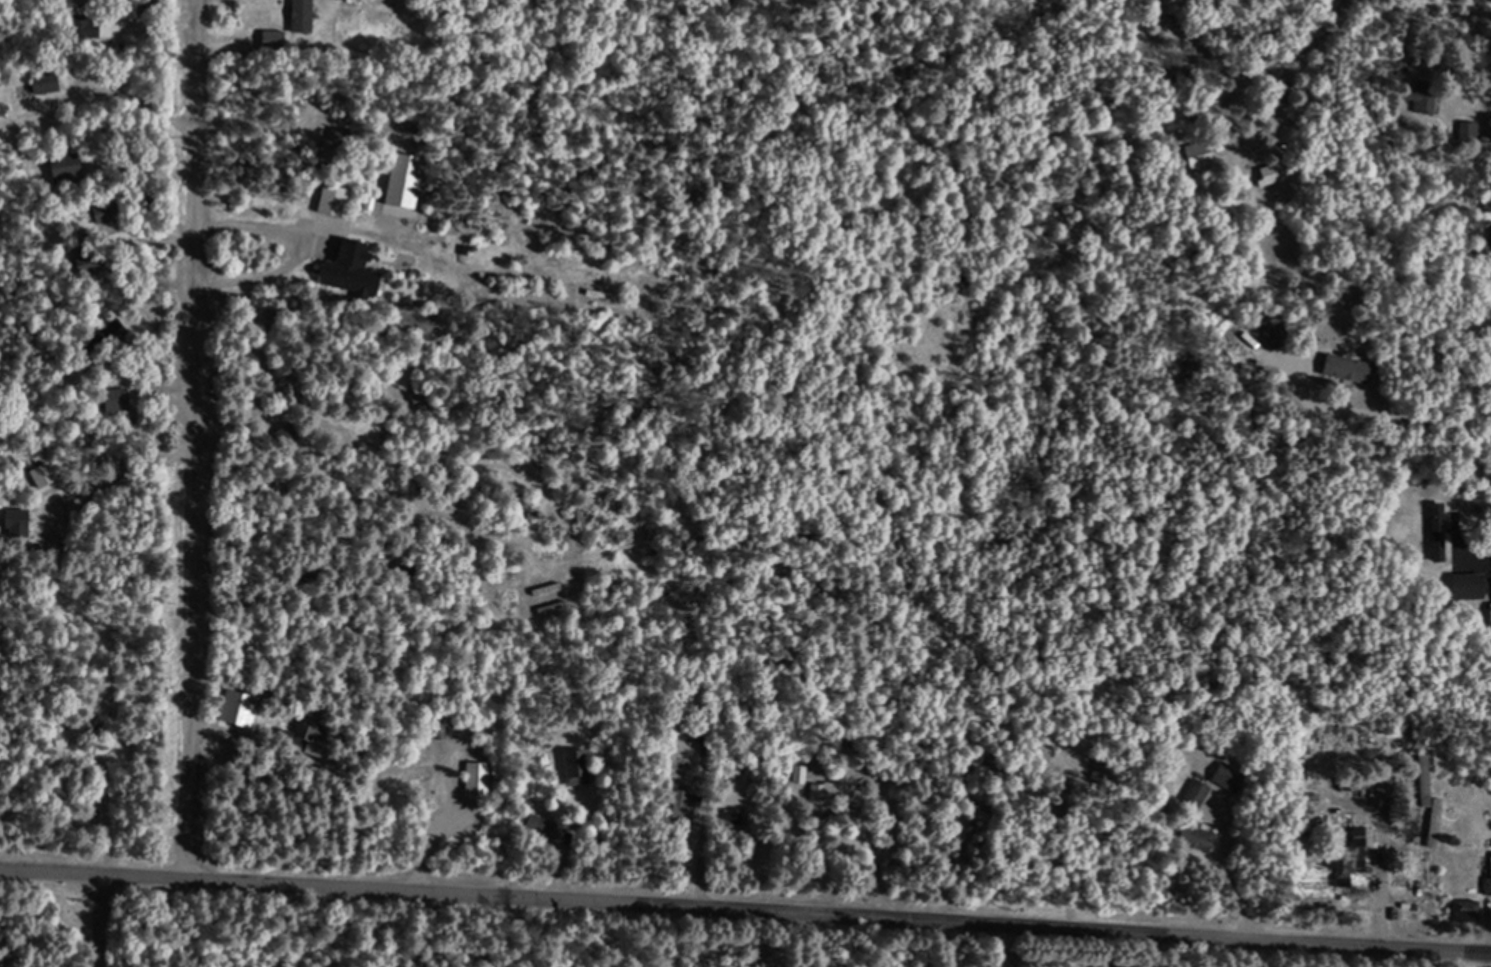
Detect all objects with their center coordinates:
building: (301, 15)
building: (48, 82)
building: (1420, 102)
building: (66, 168)
building: (1272, 173)
building: (402, 180)
building: (332, 200)
building: (108, 209)
building: (349, 271)
building: (1273, 333)
building: (1346, 369)
building: (404, 374)
building: (118, 399)
road: (1410, 417)
road: (201, 436)
building: (47, 475)
building: (1437, 532)
building: (1469, 586)
building: (440, 731)
building: (301, 735)
building: (574, 767)
building: (413, 775)
building: (799, 775)
building: (1227, 777)
building: (1425, 778)
building: (1196, 793)
building: (539, 827)
building: (1197, 838)
building: (1347, 862)
building: (1490, 863)
road: (746, 897)
building: (1464, 910)
road: (105, 917)
road: (670, 930)
park: (313, 931)
road: (983, 939)

